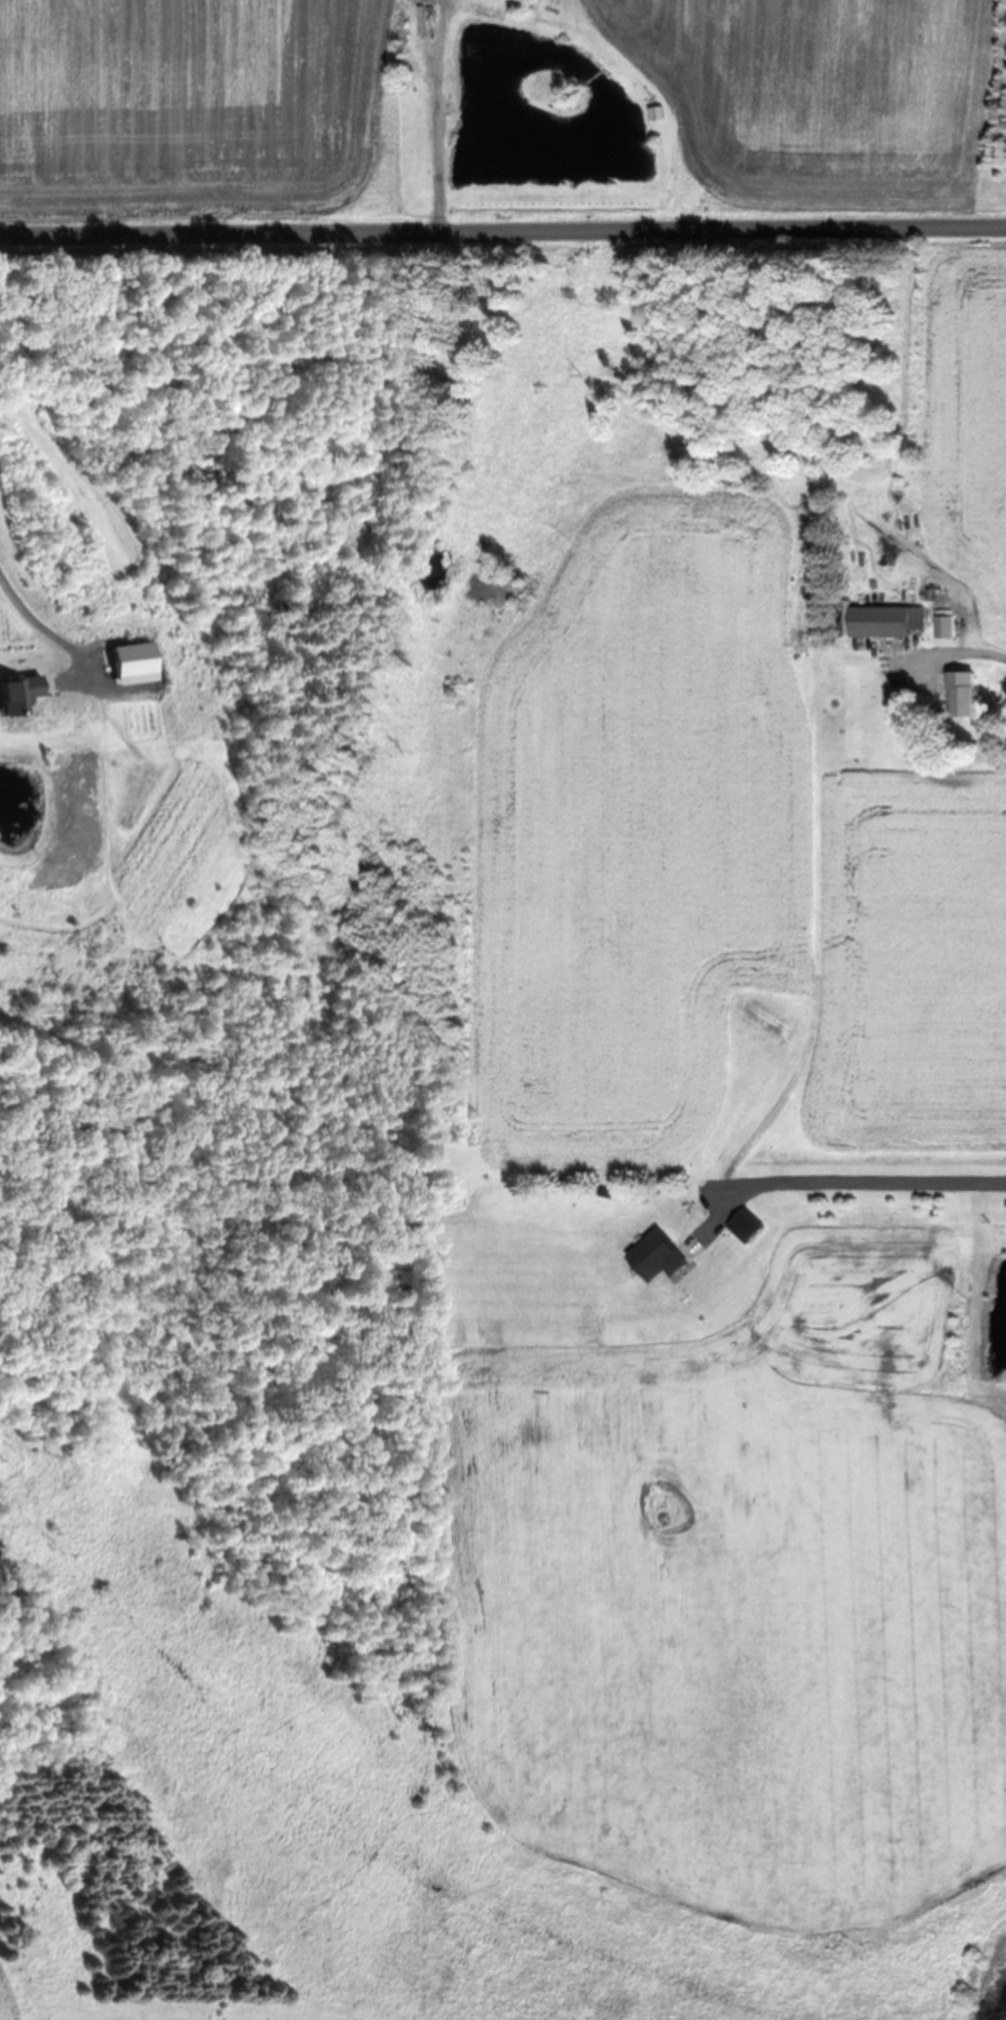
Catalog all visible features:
road: (503, 232)
road: (118, 617)
building: (883, 621)
building: (945, 626)
building: (952, 689)
building: (78, 774)
building: (653, 1257)

